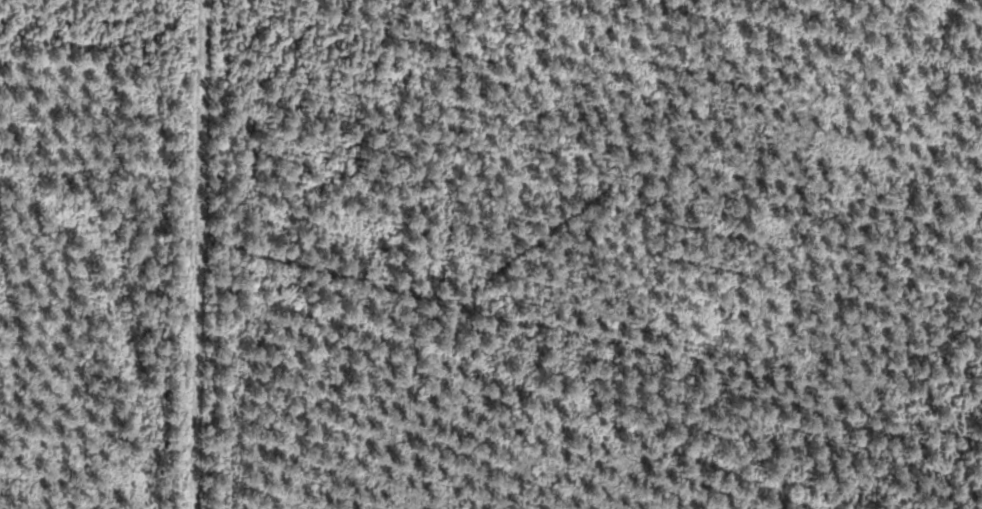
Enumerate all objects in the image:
road: (202, 254)

